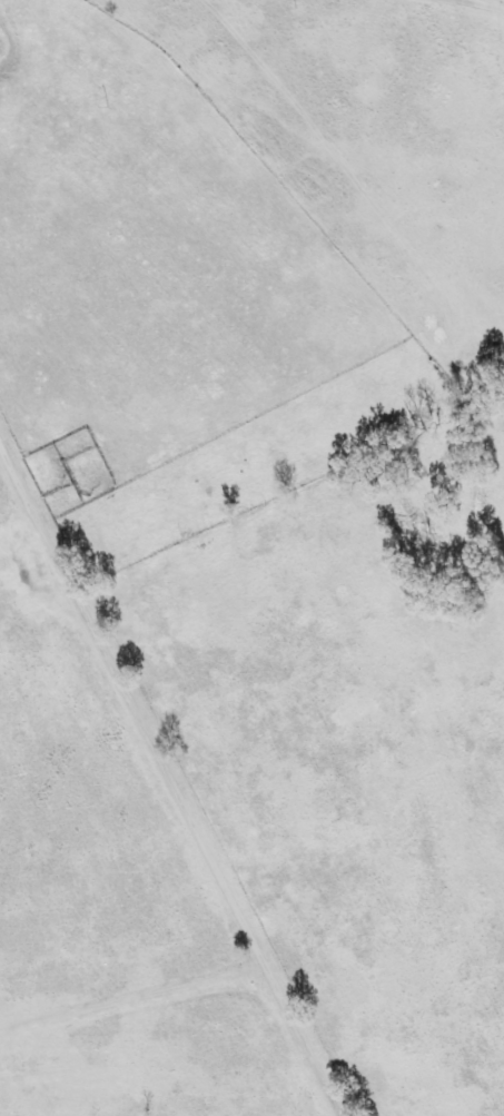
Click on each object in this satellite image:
road: (165, 782)

